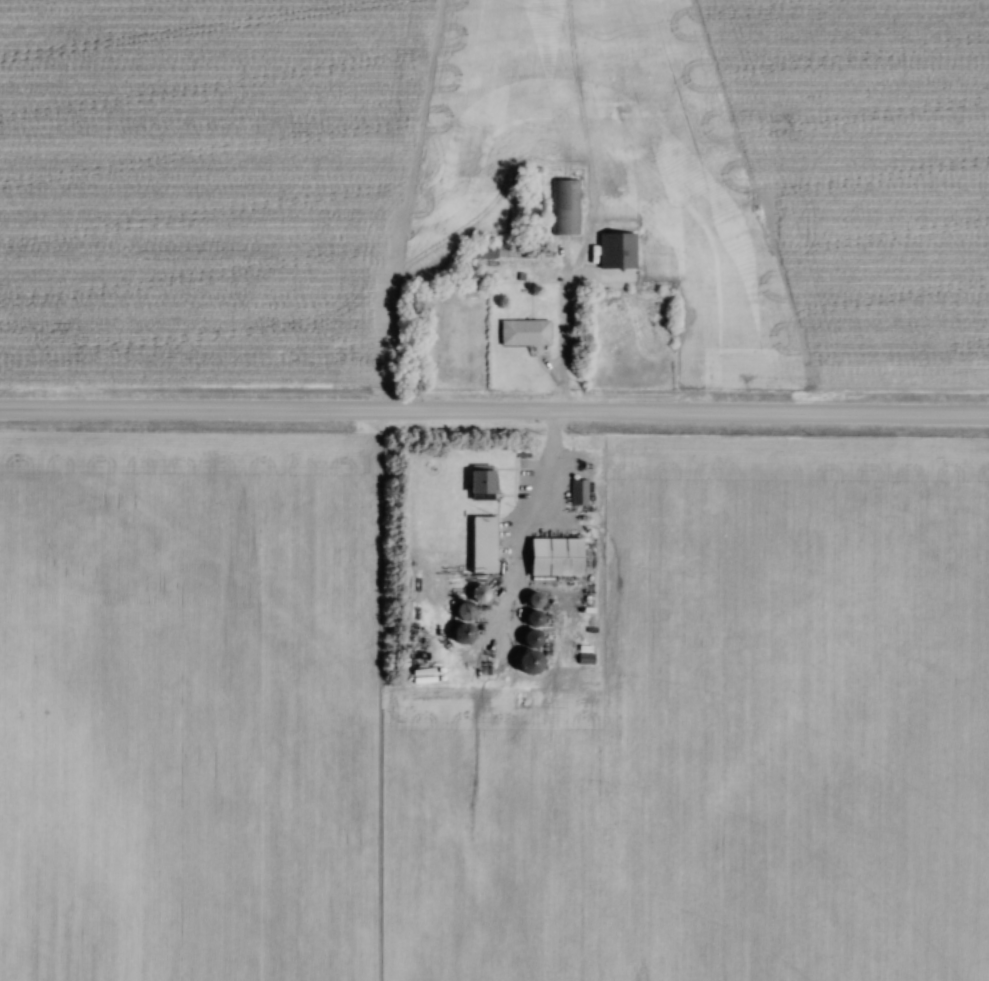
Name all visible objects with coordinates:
building: (465, 148)
building: (564, 208)
building: (482, 251)
building: (616, 252)
building: (524, 333)
road: (494, 413)
road: (543, 469)
building: (481, 485)
building: (577, 493)
building: (482, 546)
building: (554, 558)
building: (478, 593)
building: (464, 611)
building: (529, 652)
building: (585, 660)
building: (489, 665)

